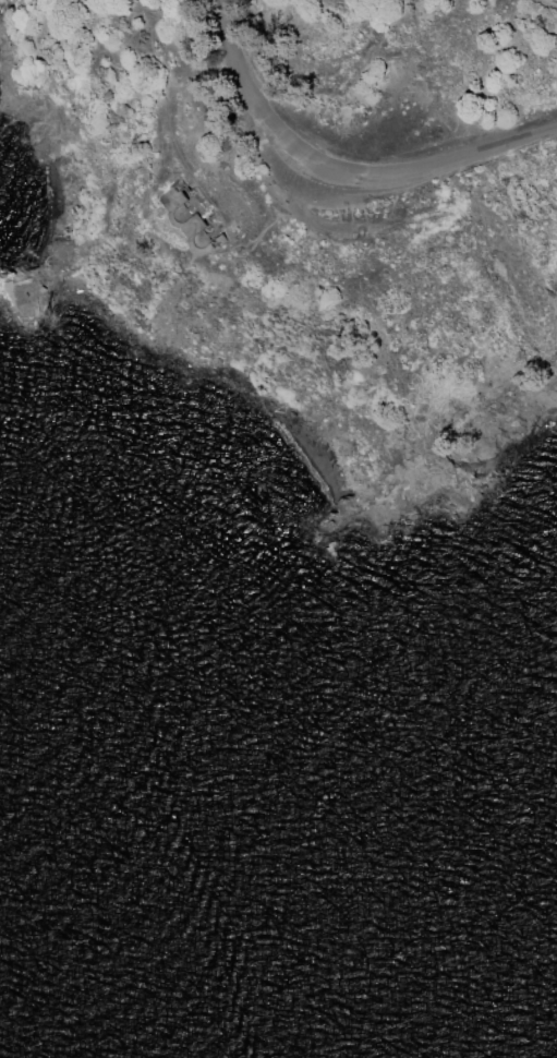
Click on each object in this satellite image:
road: (351, 169)
road: (528, 171)
building: (205, 217)
park: (313, 220)
building: (24, 299)

